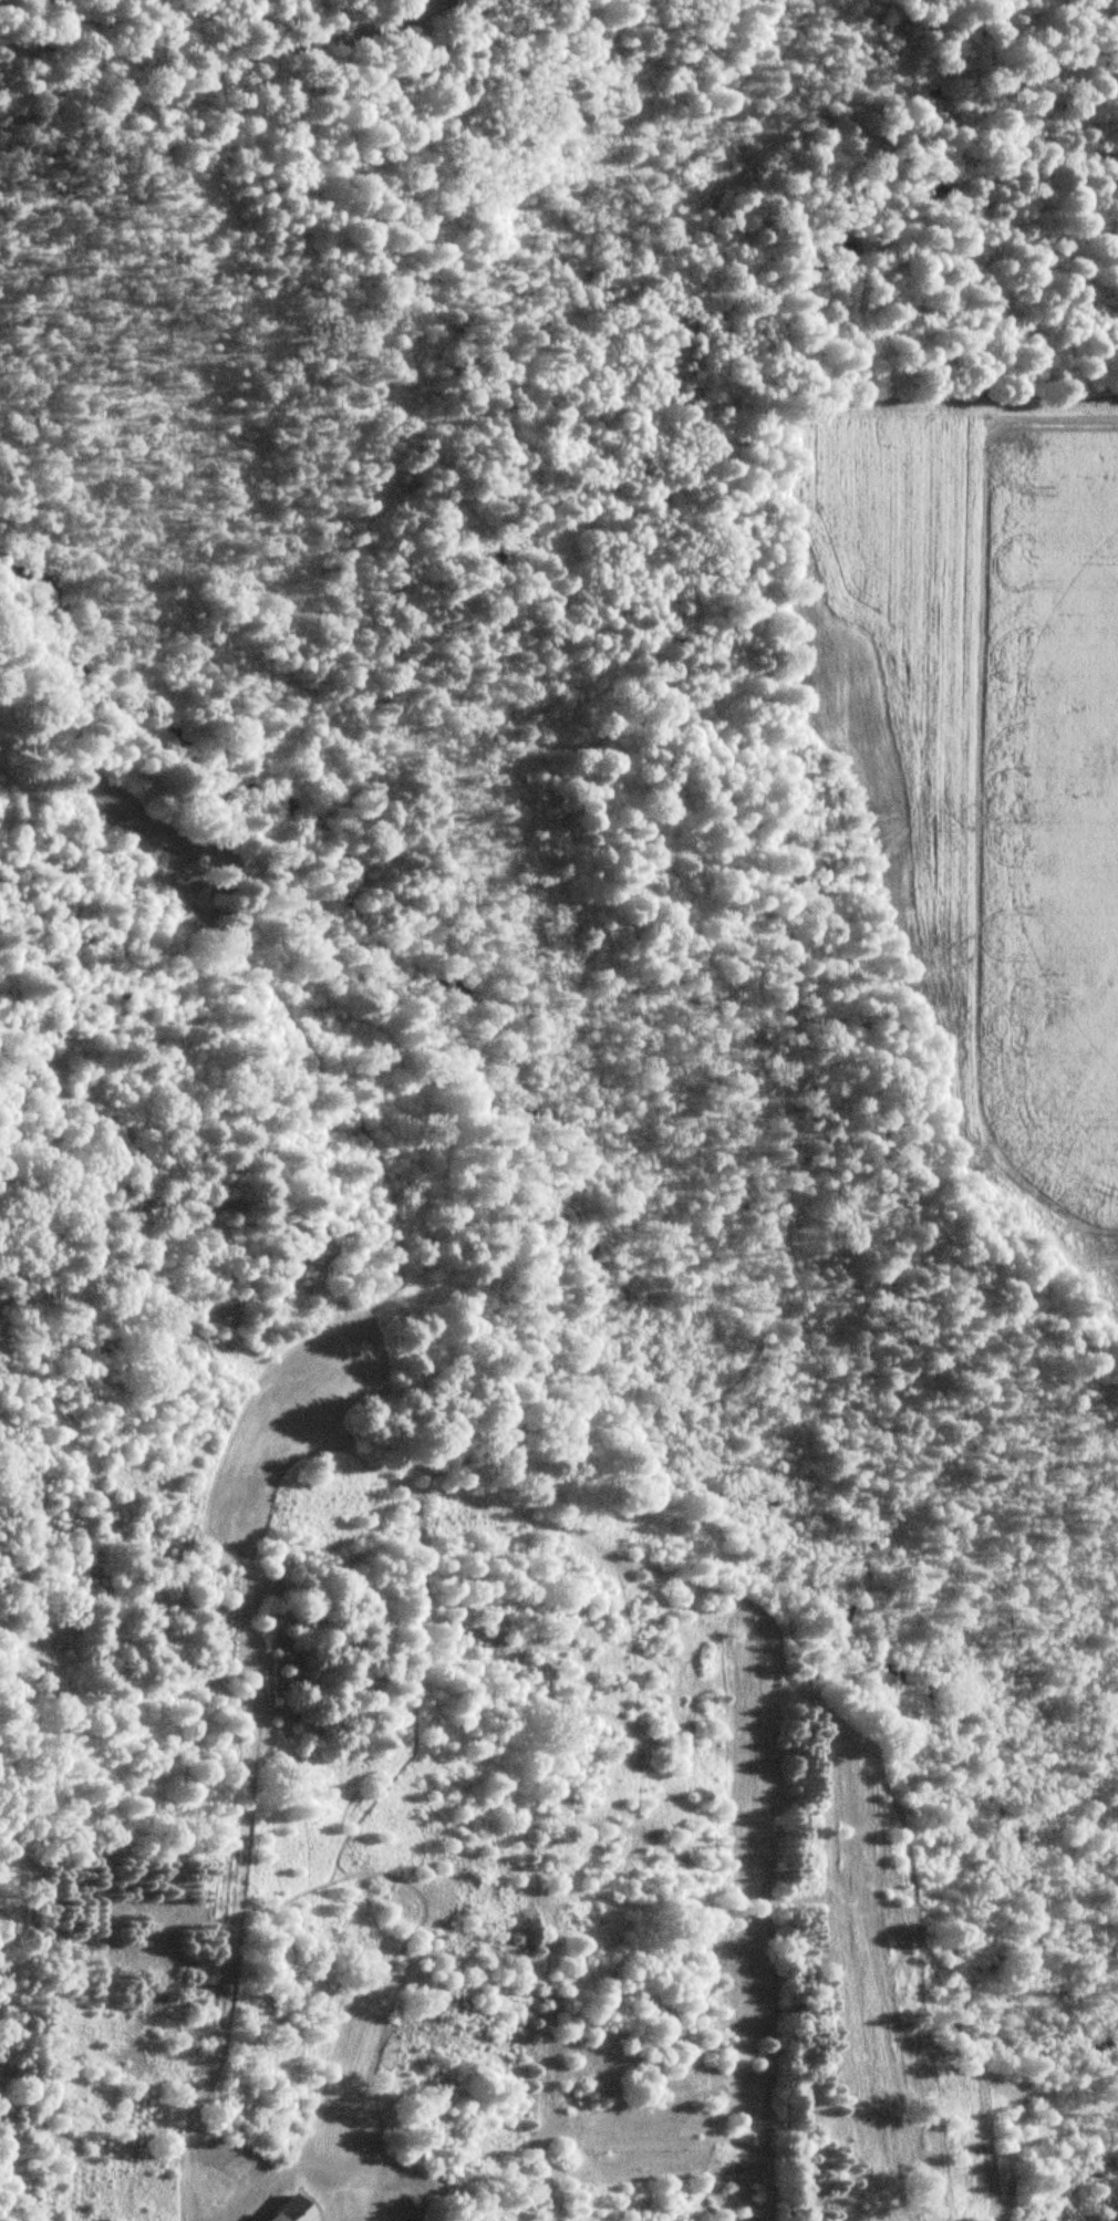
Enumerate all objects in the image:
building: (380, 2197)

